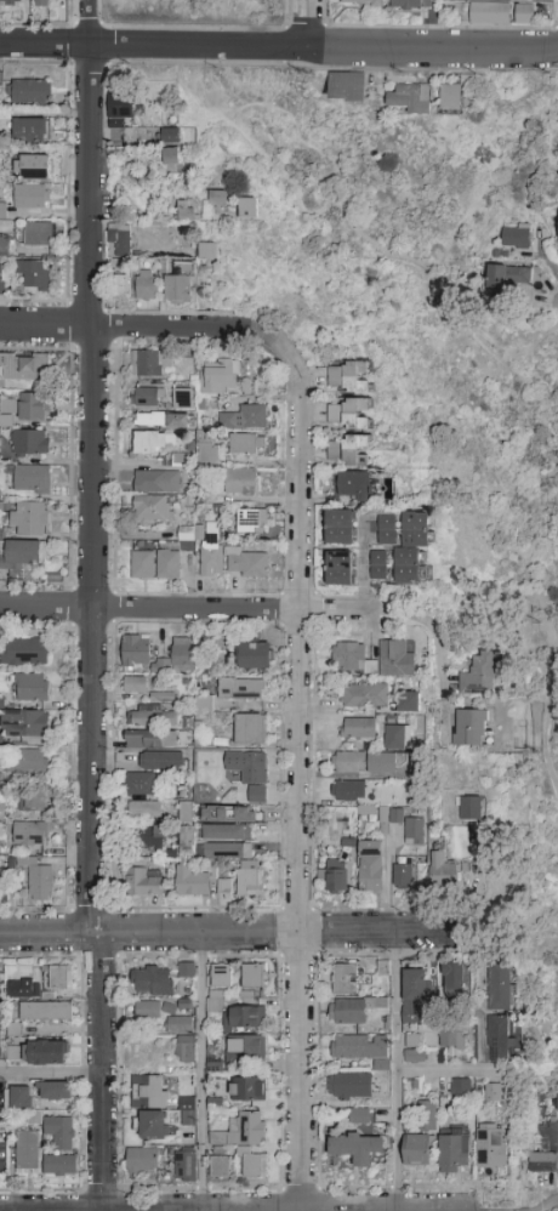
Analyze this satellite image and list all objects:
building: (523, 0)
building: (10, 2)
building: (41, 2)
building: (365, 2)
building: (412, 5)
building: (489, 15)
building: (524, 15)
road: (87, 22)
road: (311, 22)
road: (278, 46)
building: (348, 87)
building: (32, 92)
building: (409, 98)
building: (450, 98)
building: (120, 109)
building: (32, 130)
building: (171, 137)
building: (170, 157)
building: (34, 167)
building: (32, 197)
building: (217, 199)
building: (188, 212)
building: (39, 234)
building: (516, 239)
building: (120, 240)
building: (4, 244)
building: (207, 250)
building: (184, 267)
road: (409, 267)
building: (35, 274)
building: (503, 277)
building: (0, 278)
building: (147, 285)
building: (119, 286)
building: (178, 290)
road: (148, 328)
road: (536, 342)
park: (427, 353)
building: (150, 364)
building: (25, 366)
building: (182, 366)
building: (348, 377)
building: (221, 379)
building: (148, 397)
building: (181, 398)
building: (27, 406)
building: (348, 414)
building: (245, 419)
building: (159, 420)
building: (30, 442)
building: (153, 442)
building: (247, 444)
building: (209, 448)
building: (348, 451)
road: (484, 466)
building: (33, 479)
building: (156, 482)
building: (240, 482)
building: (355, 487)
road: (91, 490)
building: (152, 508)
building: (29, 518)
building: (252, 522)
building: (341, 528)
building: (387, 529)
building: (416, 529)
building: (206, 550)
building: (22, 555)
building: (250, 564)
building: (142, 565)
building: (167, 565)
building: (380, 567)
building: (408, 567)
building: (340, 569)
road: (187, 609)
road: (404, 616)
building: (24, 652)
building: (136, 653)
building: (182, 655)
building: (255, 656)
building: (351, 659)
building: (395, 659)
building: (480, 676)
road: (442, 678)
building: (135, 684)
building: (30, 688)
building: (241, 690)
building: (160, 695)
building: (365, 697)
building: (410, 703)
building: (204, 704)
road: (547, 704)
building: (149, 717)
building: (25, 724)
building: (358, 728)
building: (471, 728)
building: (250, 729)
building: (397, 738)
building: (0, 739)
building: (150, 740)
building: (33, 762)
building: (165, 763)
building: (364, 763)
building: (252, 775)
road: (298, 777)
building: (138, 784)
building: (349, 790)
building: (35, 796)
building: (469, 808)
building: (144, 809)
building: (186, 812)
building: (227, 813)
building: (388, 819)
building: (415, 831)
building: (226, 832)
building: (29, 838)
building: (148, 838)
building: (183, 840)
building: (226, 852)
building: (370, 866)
building: (444, 872)
building: (334, 876)
building: (403, 877)
building: (250, 880)
building: (193, 881)
building: (39, 882)
building: (142, 883)
building: (223, 885)
building: (4, 886)
road: (233, 936)
building: (187, 970)
building: (221, 976)
building: (252, 976)
building: (62, 979)
building: (345, 979)
building: (152, 980)
building: (457, 980)
building: (23, 987)
building: (500, 988)
building: (414, 995)
building: (216, 1002)
building: (352, 1010)
building: (147, 1011)
building: (46, 1012)
building: (244, 1018)
building: (180, 1025)
building: (13, 1030)
building: (452, 1039)
building: (499, 1039)
building: (352, 1047)
building: (412, 1048)
building: (184, 1050)
building: (245, 1050)
building: (13, 1053)
building: (46, 1053)
road: (448, 1069)
road: (200, 1073)
road: (397, 1073)
road: (102, 1074)
road: (51, 1075)
building: (349, 1087)
building: (461, 1088)
building: (247, 1090)
building: (56, 1092)
building: (150, 1092)
building: (494, 1093)
building: (18, 1098)
building: (211, 1104)
building: (188, 1111)
building: (427, 1113)
building: (359, 1116)
building: (150, 1126)
building: (244, 1130)
building: (59, 1132)
building: (355, 1147)
building: (491, 1147)
building: (416, 1150)
building: (545, 1150)
building: (28, 1153)
building: (455, 1154)
building: (142, 1161)
building: (61, 1166)
building: (221, 1166)
building: (256, 1166)
building: (186, 1167)
road: (546, 1206)

